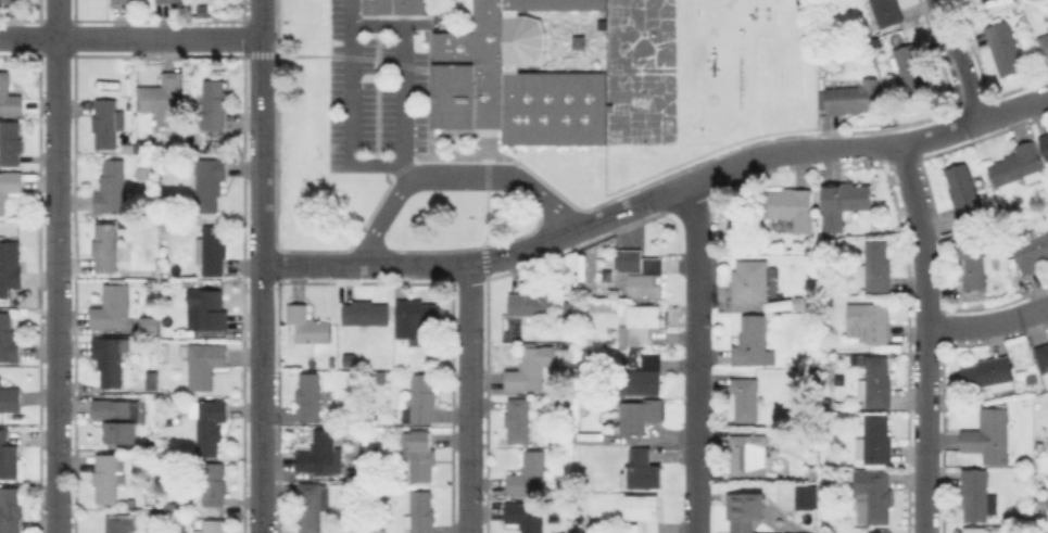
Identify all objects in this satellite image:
building: (12, 1)
building: (123, 1)
building: (169, 1)
building: (392, 5)
building: (204, 10)
building: (887, 12)
road: (130, 38)
building: (1044, 43)
building: (1006, 48)
road: (961, 61)
building: (913, 69)
road: (401, 77)
building: (513, 78)
building: (163, 97)
building: (855, 97)
building: (9, 98)
building: (214, 103)
road: (349, 104)
building: (108, 123)
building: (10, 142)
building: (141, 143)
building: (1045, 143)
building: (1018, 164)
road: (447, 173)
building: (209, 181)
building: (9, 187)
building: (112, 187)
building: (963, 189)
road: (655, 193)
road: (261, 201)
building: (844, 202)
road: (56, 204)
building: (1017, 205)
building: (792, 206)
building: (0, 236)
building: (106, 246)
building: (1031, 250)
building: (212, 251)
building: (629, 259)
building: (811, 259)
building: (975, 262)
building: (10, 265)
building: (876, 267)
building: (648, 279)
building: (750, 280)
road: (697, 283)
building: (615, 293)
road: (924, 295)
building: (806, 300)
building: (533, 304)
building: (781, 304)
building: (112, 306)
building: (568, 306)
building: (207, 308)
building: (366, 312)
building: (418, 314)
building: (869, 322)
building: (147, 323)
building: (640, 325)
road: (988, 327)
building: (305, 329)
road: (468, 330)
building: (8, 340)
building: (754, 343)
building: (1043, 356)
building: (111, 357)
building: (348, 359)
building: (203, 364)
building: (531, 368)
building: (990, 373)
building: (644, 376)
building: (877, 383)
building: (1046, 383)
building: (310, 396)
building: (746, 398)
building: (9, 399)
building: (420, 399)
building: (641, 414)
building: (116, 418)
building: (518, 419)
building: (209, 423)
building: (989, 435)
building: (875, 441)
building: (154, 444)
building: (1040, 446)
building: (419, 454)
building: (321, 455)
building: (8, 456)
building: (749, 456)
building: (1028, 460)
road: (695, 462)
road: (468, 465)
road: (262, 467)
building: (642, 470)
road: (56, 471)
building: (813, 472)
building: (355, 473)
building: (529, 473)
building: (109, 475)
building: (214, 483)
road: (927, 490)
building: (873, 494)
building: (975, 494)
building: (807, 496)
building: (310, 506)
building: (10, 510)
building: (643, 512)
building: (422, 513)
building: (746, 513)
building: (527, 515)
building: (1008, 517)
building: (118, 523)
building: (212, 525)
building: (974, 530)
building: (880, 532)

